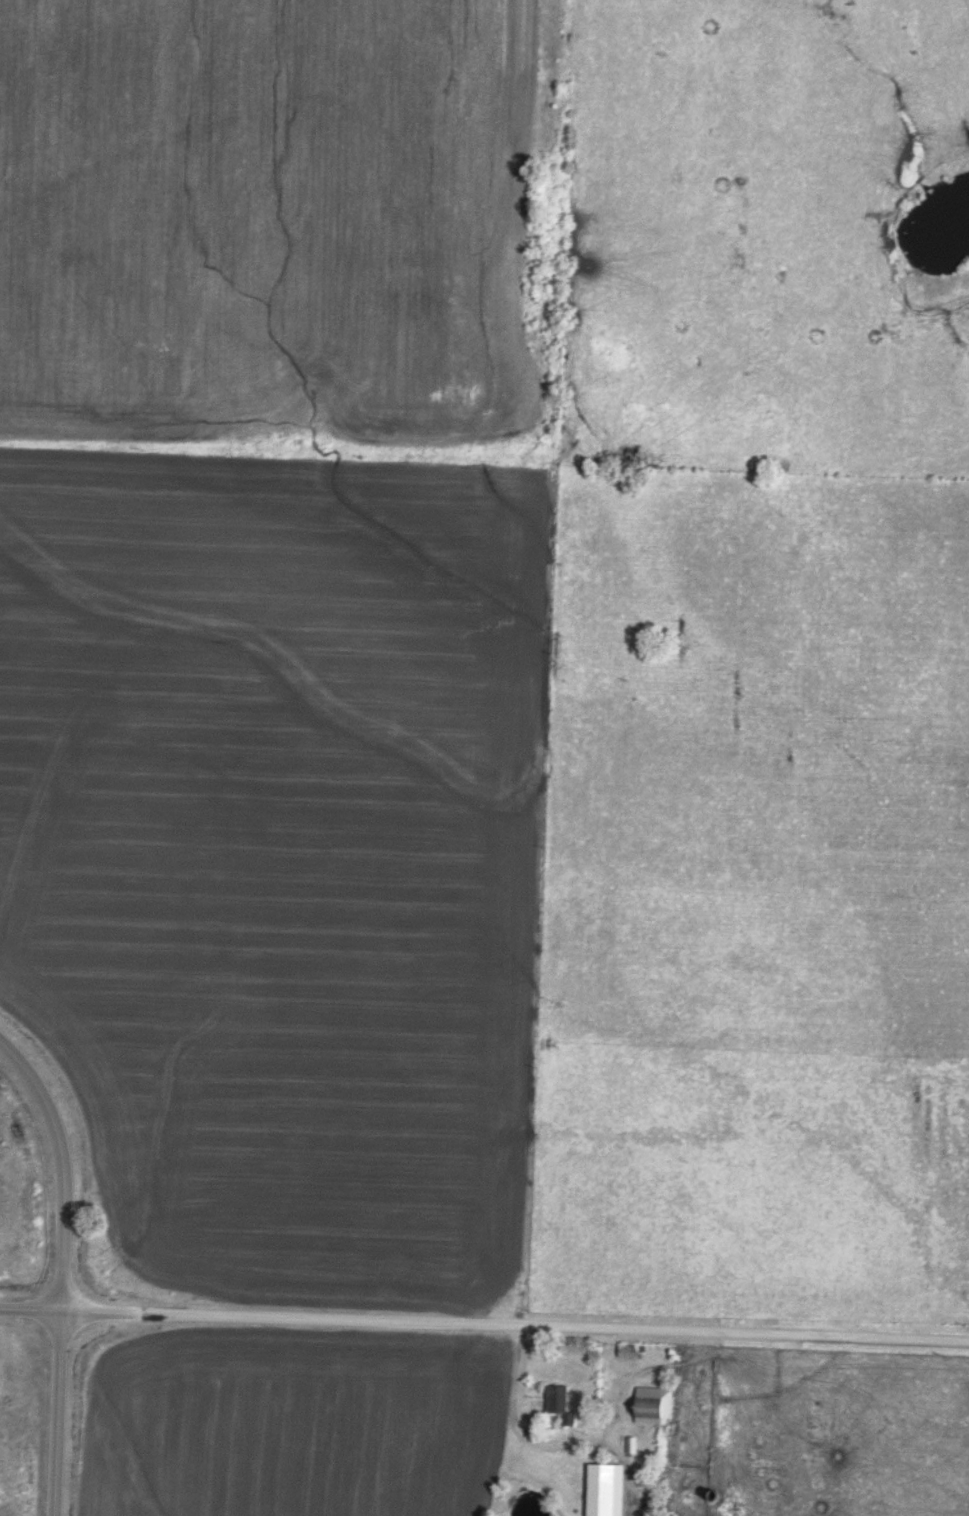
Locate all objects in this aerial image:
road: (62, 1270)
road: (484, 1326)
building: (559, 1404)
building: (653, 1405)
road: (515, 1425)
building: (606, 1489)

